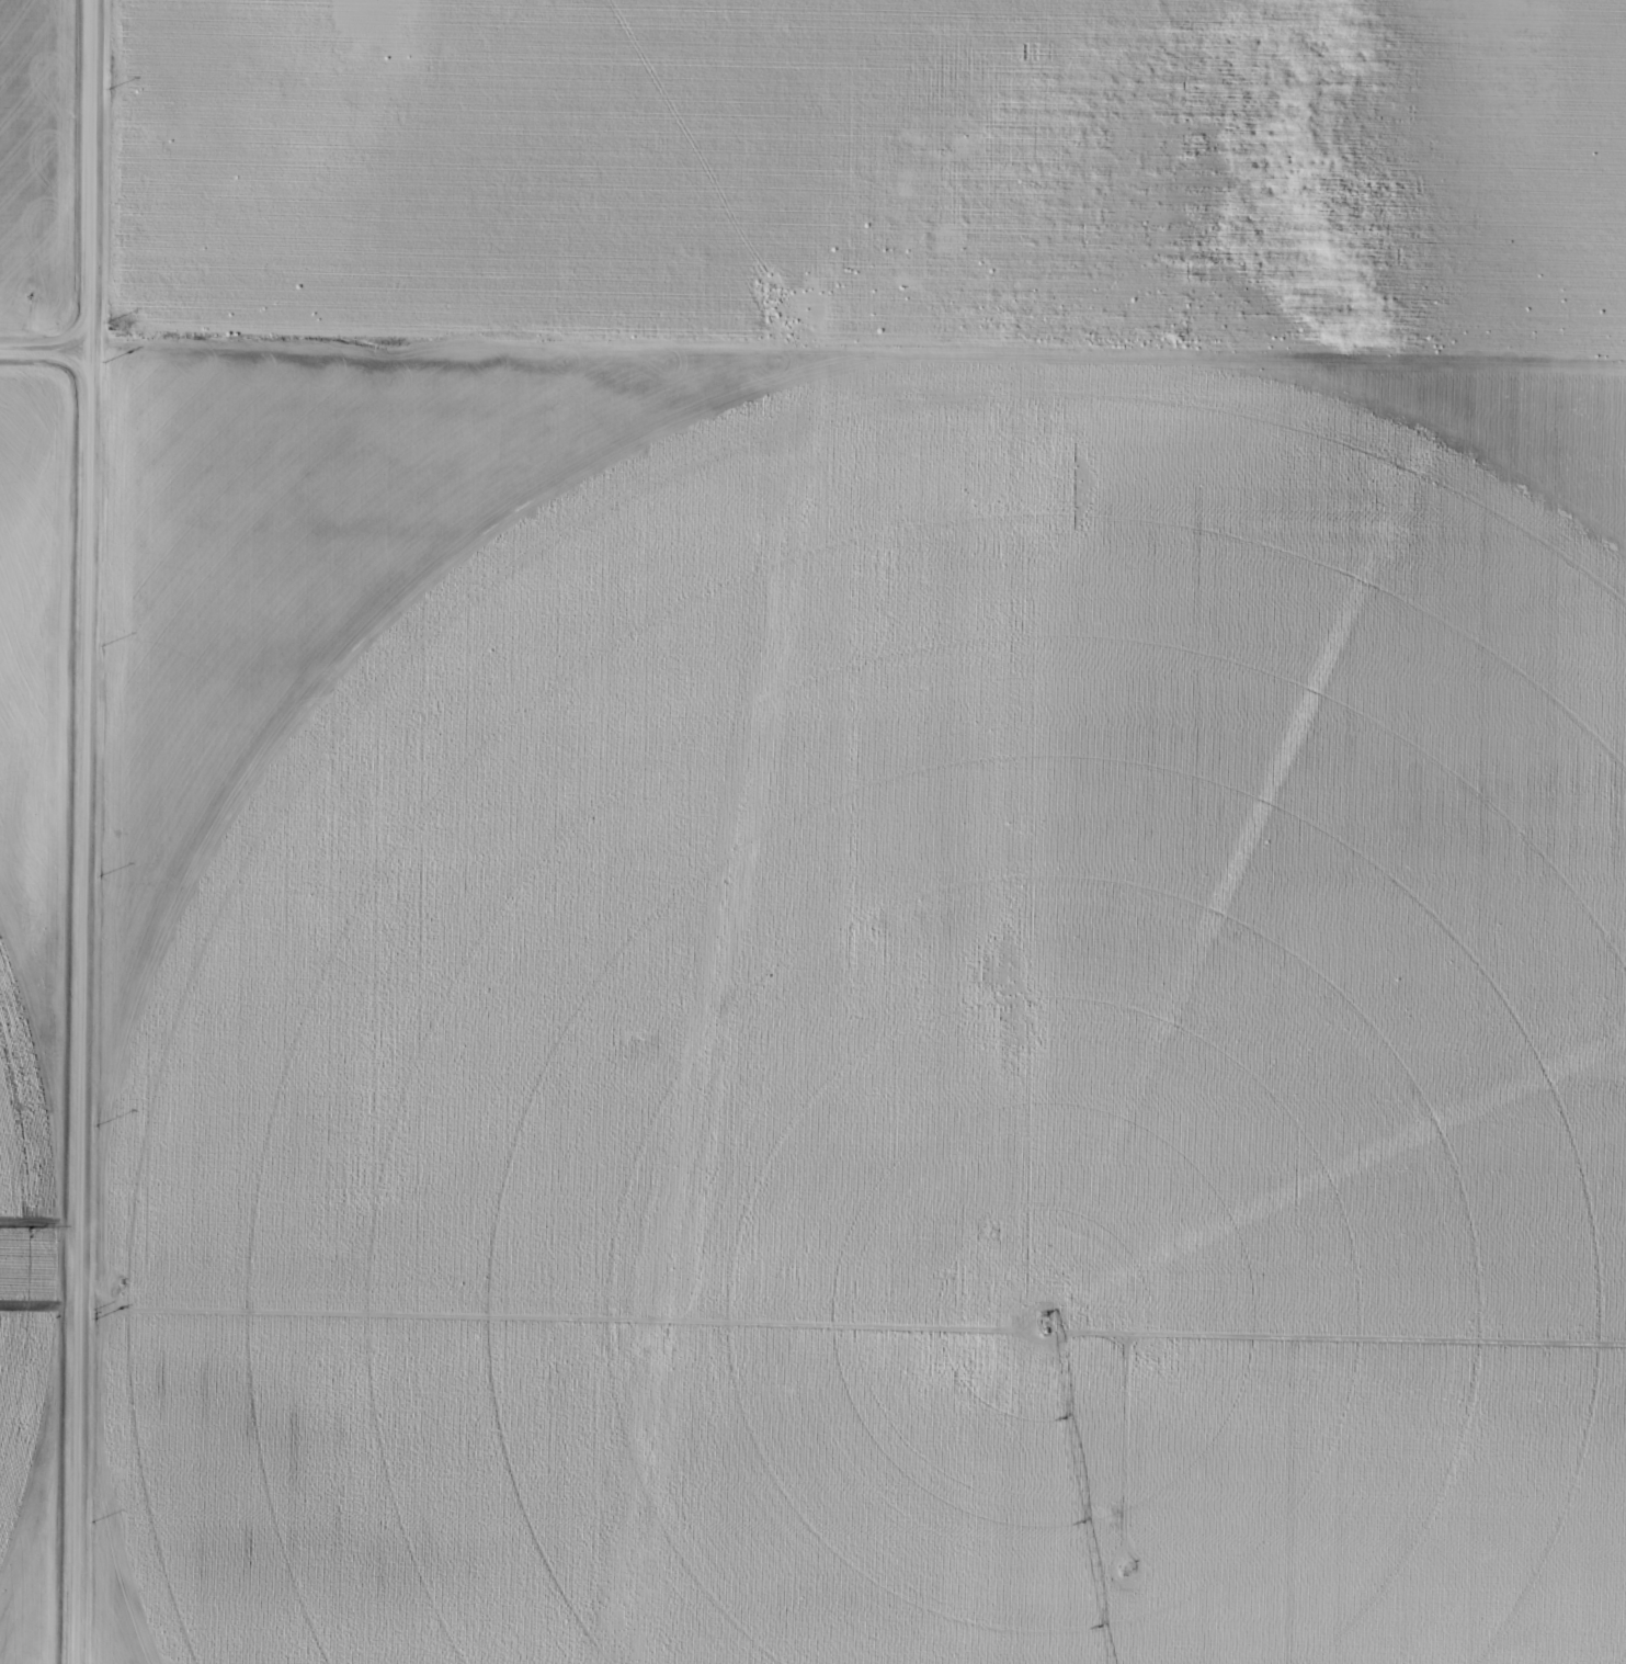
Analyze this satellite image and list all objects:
road: (47, 344)
road: (860, 385)
road: (86, 831)
road: (1096, 1031)
road: (852, 1332)

